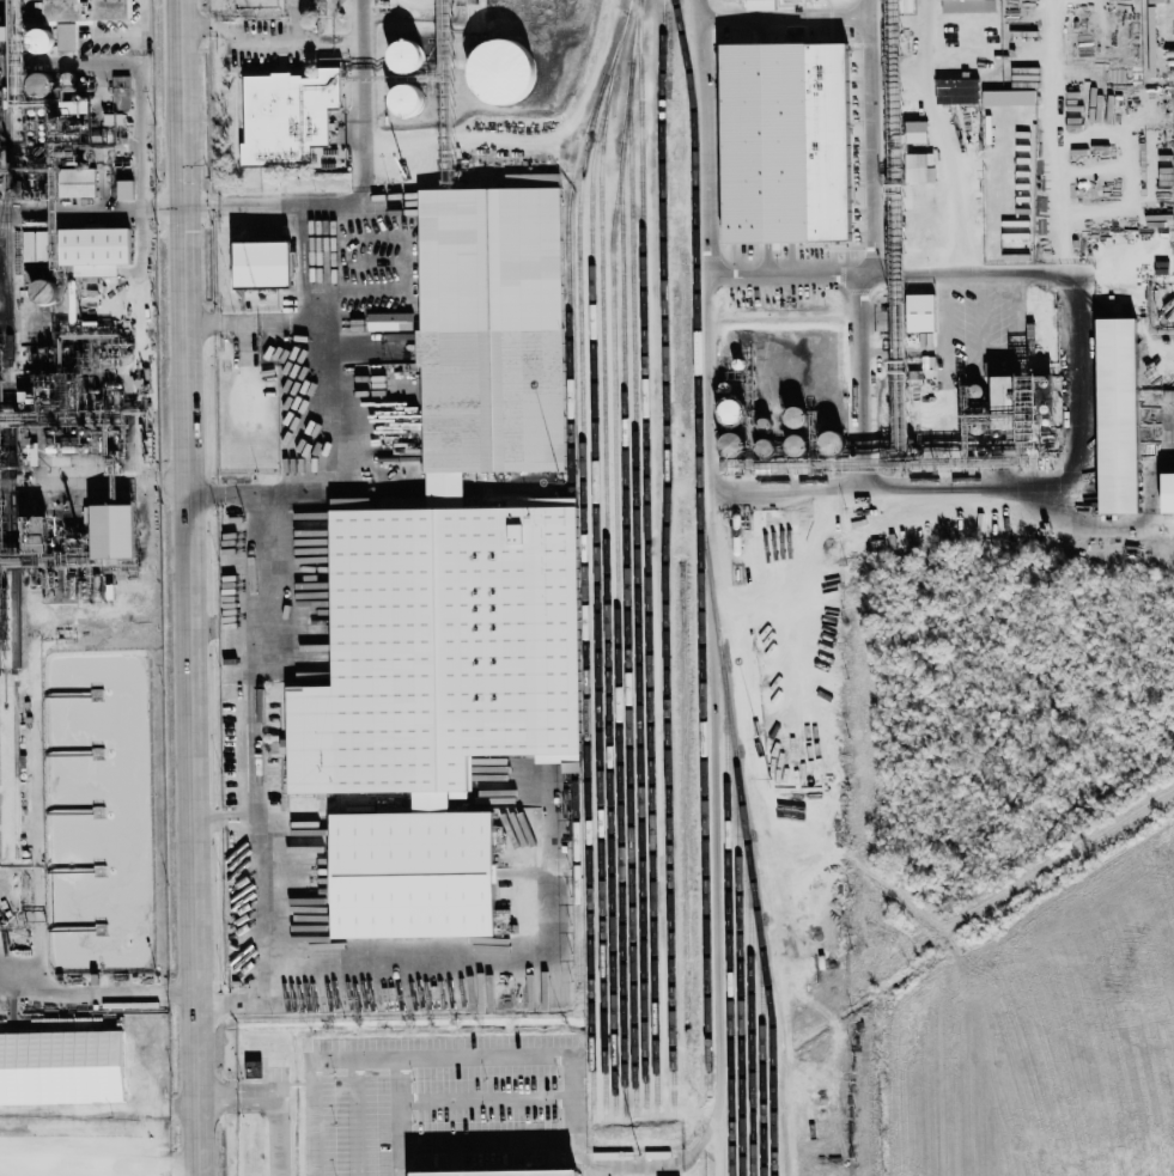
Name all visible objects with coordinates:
building: (79, 16)
building: (4, 31)
building: (967, 32)
building: (39, 38)
road: (269, 41)
building: (406, 54)
building: (503, 69)
road: (875, 71)
road: (896, 71)
road: (913, 71)
railway: (4, 79)
building: (39, 83)
road: (139, 84)
building: (956, 89)
building: (120, 91)
building: (407, 98)
building: (287, 115)
building: (1002, 115)
building: (916, 130)
road: (939, 139)
building: (785, 141)
building: (916, 166)
building: (75, 182)
building: (124, 189)
railway: (4, 190)
road: (285, 205)
building: (933, 211)
railway: (566, 240)
road: (863, 240)
building: (34, 245)
building: (93, 249)
building: (262, 262)
building: (42, 291)
road: (141, 292)
railway: (5, 297)
building: (920, 312)
building: (389, 321)
building: (492, 328)
road: (248, 348)
building: (932, 406)
building: (1006, 413)
building: (1119, 414)
building: (797, 416)
building: (766, 424)
building: (730, 441)
building: (833, 441)
road: (1071, 477)
building: (1168, 492)
railway: (11, 506)
building: (112, 530)
railway: (699, 543)
railway: (635, 555)
railway: (646, 555)
railway: (665, 555)
railway: (595, 562)
railway: (626, 586)
road: (195, 587)
railway: (606, 595)
railway: (585, 596)
railway: (616, 627)
railway: (574, 633)
building: (443, 645)
road: (255, 718)
railway: (726, 835)
building: (412, 873)
railway: (578, 878)
railway: (738, 920)
railway: (749, 963)
road: (389, 999)
railway: (761, 1001)
railway: (772, 1042)
road: (510, 1053)
building: (61, 1067)
building: (254, 1070)
road: (486, 1098)
road: (278, 1101)
road: (402, 1115)
road: (355, 1116)
parking lot: (488, 1143)
road: (582, 1157)
road: (103, 1165)
building: (503, 1174)

